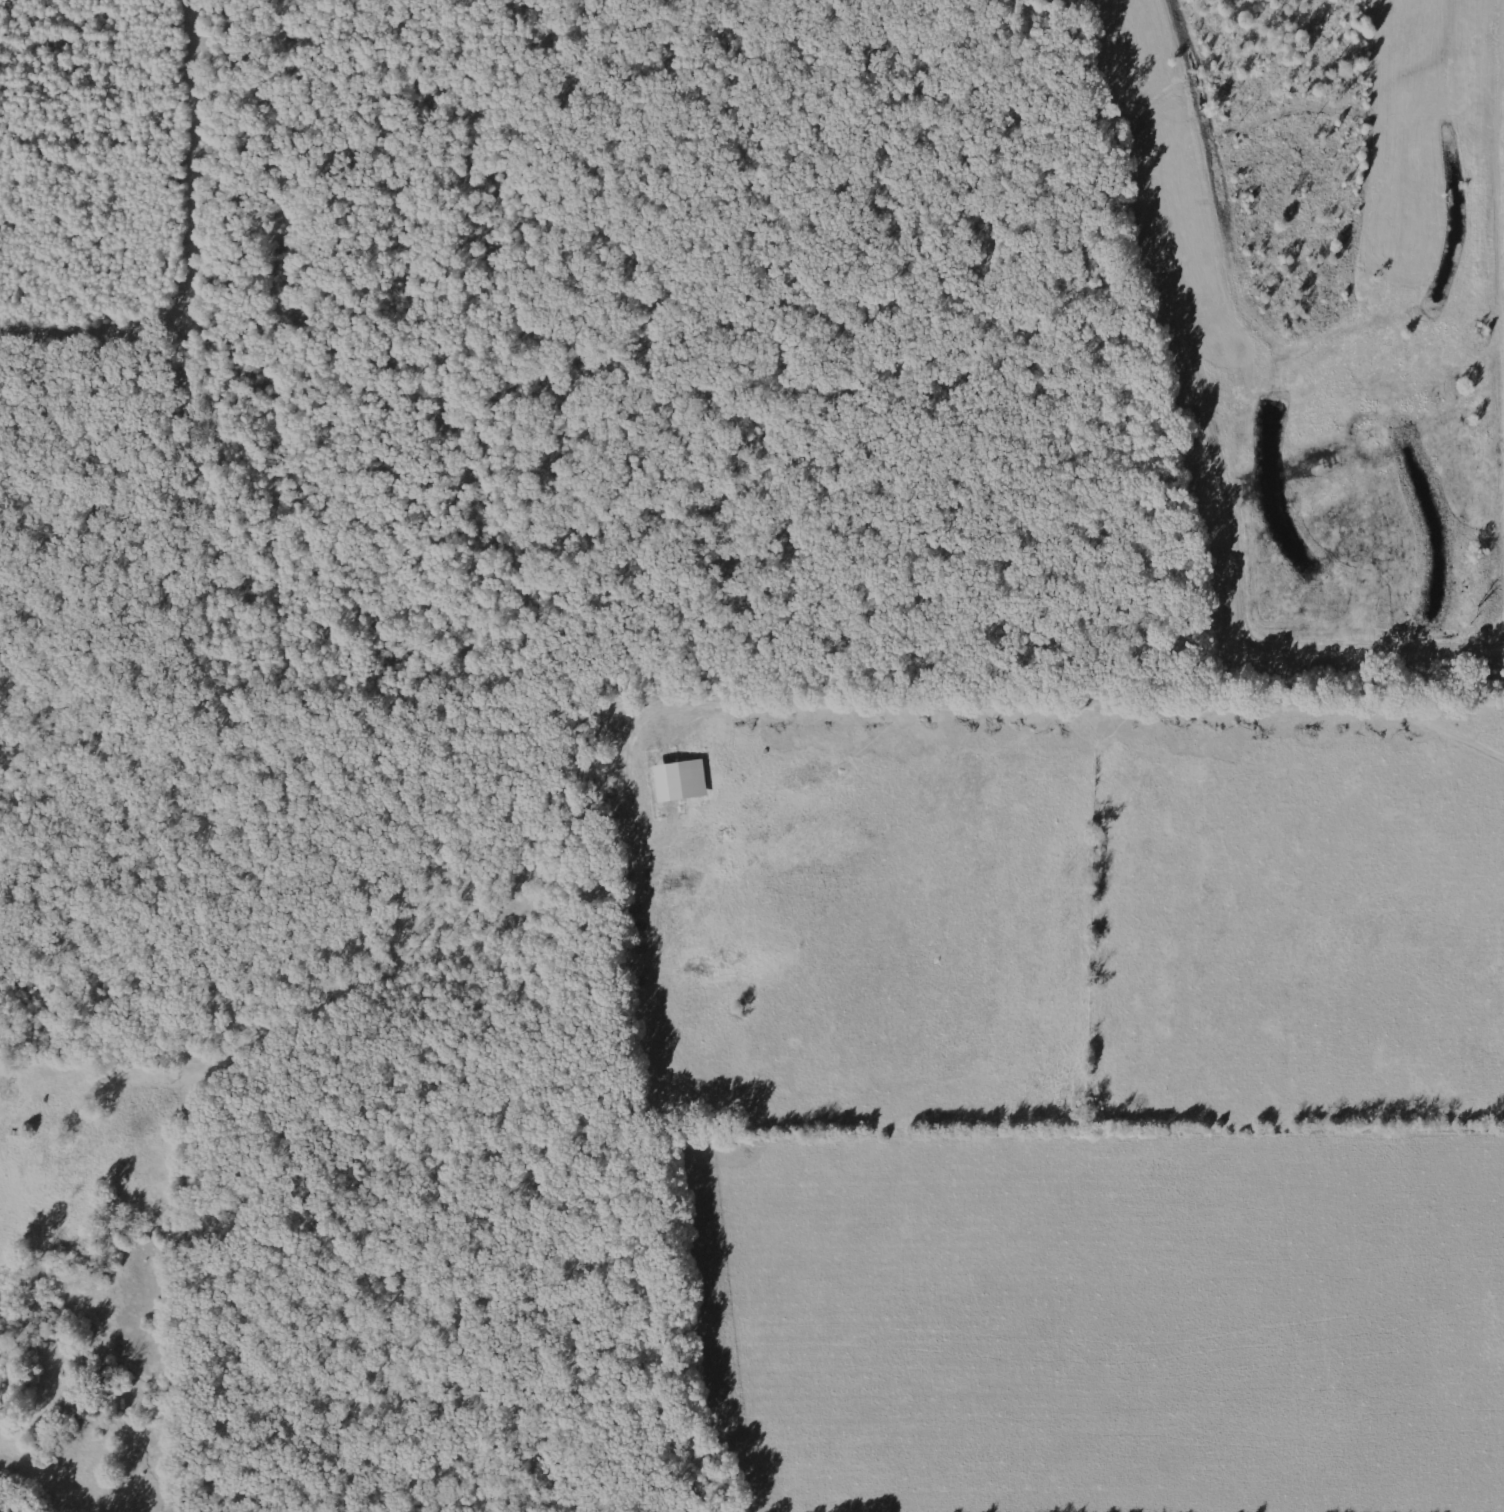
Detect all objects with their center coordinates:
road: (1029, 669)
building: (683, 782)

